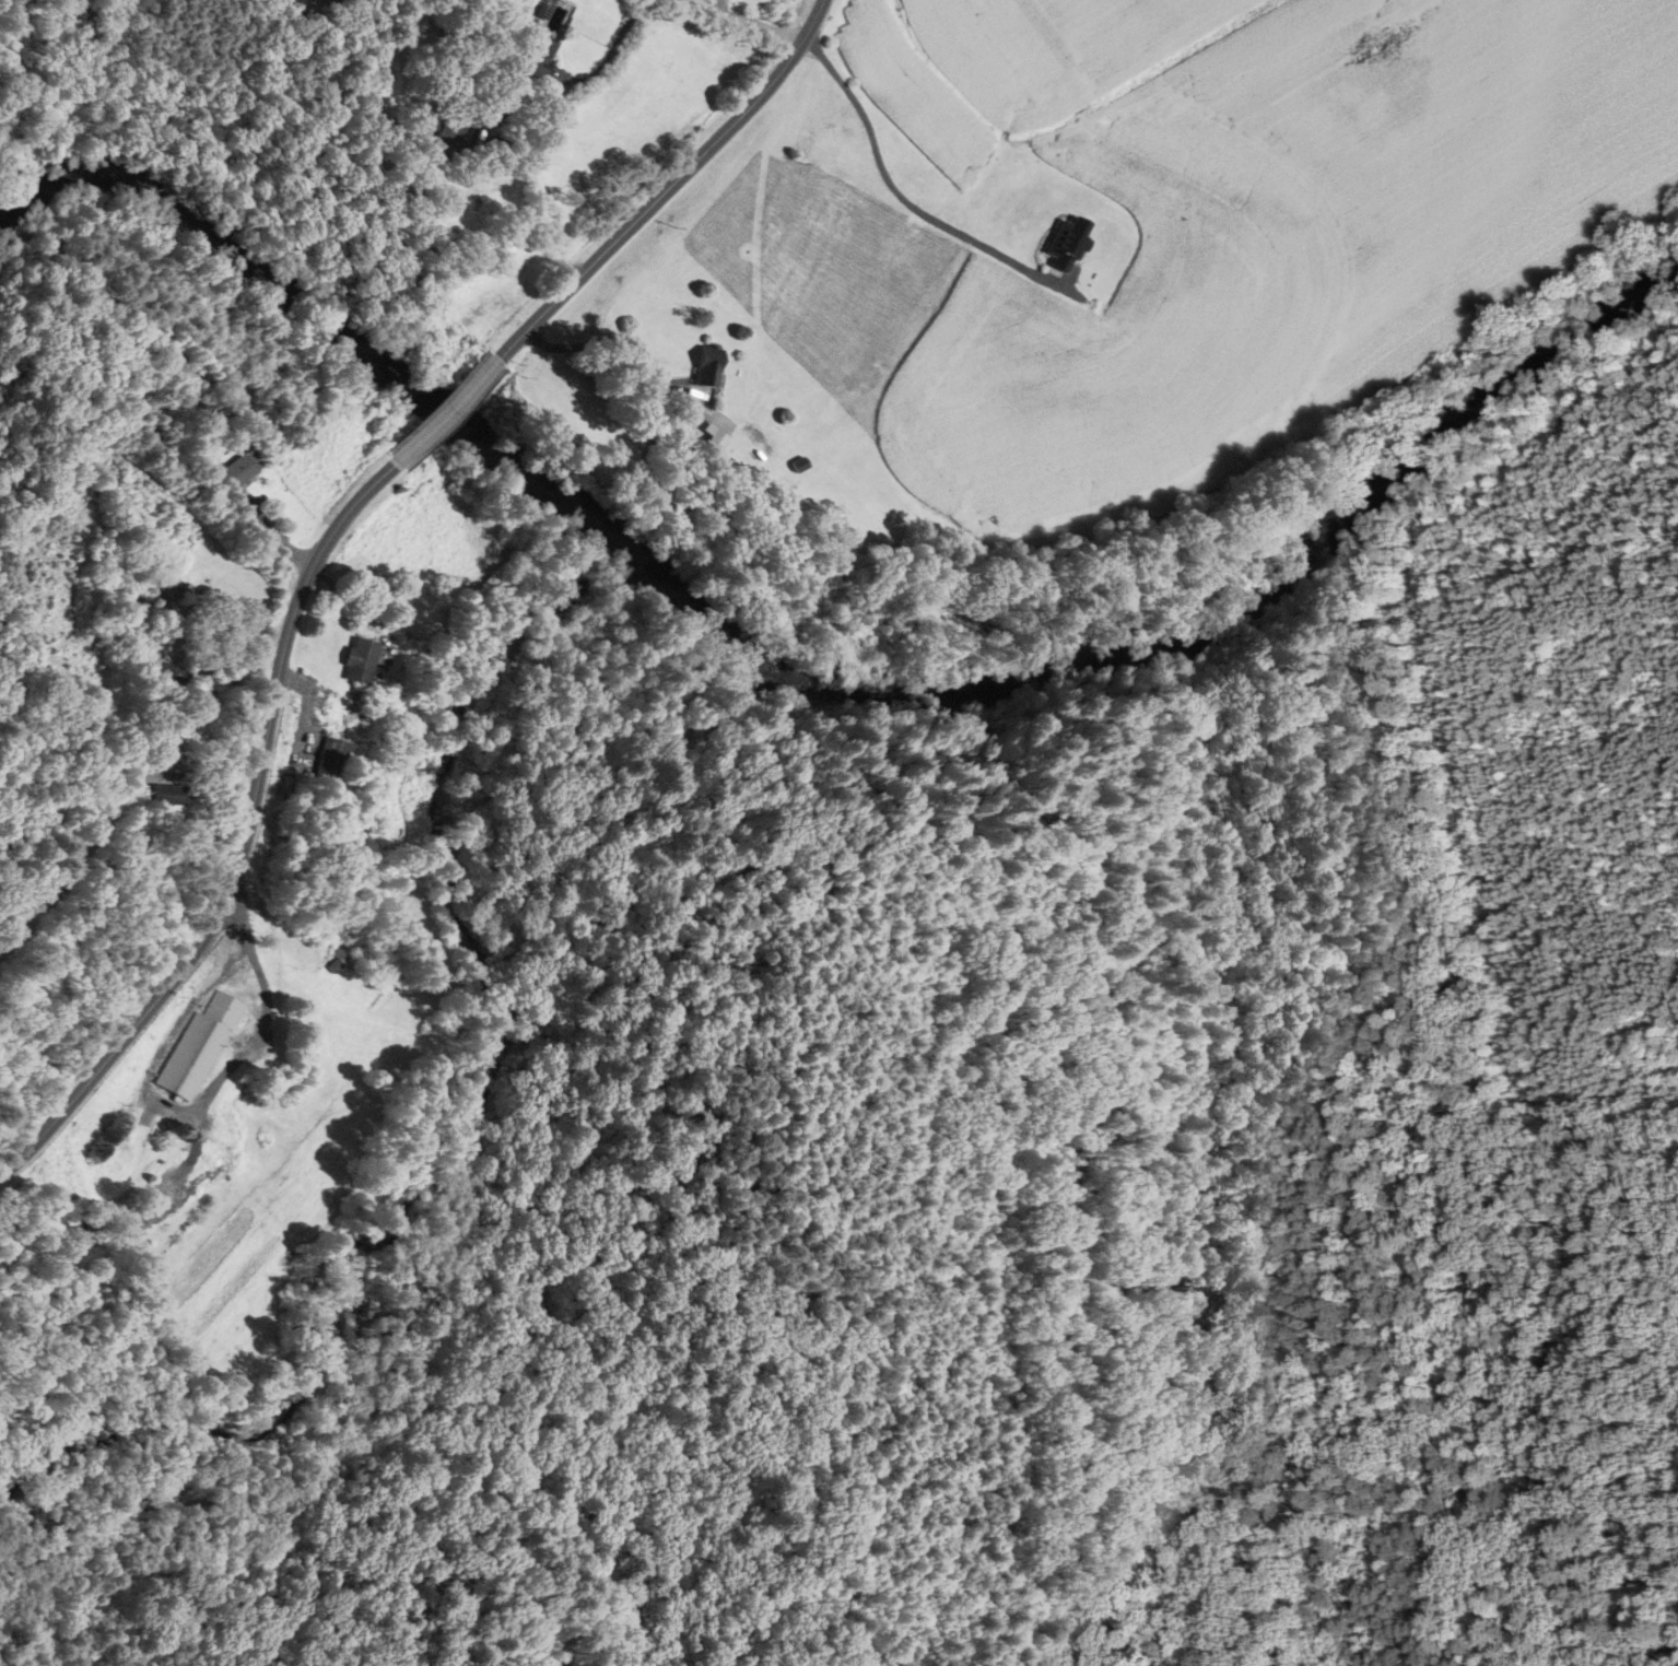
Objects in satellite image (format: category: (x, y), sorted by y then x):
road: (738, 20)
building: (533, 55)
building: (385, 129)
building: (448, 138)
road: (671, 188)
road: (894, 193)
building: (1064, 244)
building: (175, 361)
building: (705, 366)
road: (444, 414)
building: (712, 437)
building: (239, 468)
building: (190, 600)
building: (355, 660)
building: (165, 672)
river: (808, 685)
building: (327, 761)
building: (165, 796)
road: (243, 847)
building: (199, 1046)
building: (121, 1160)

